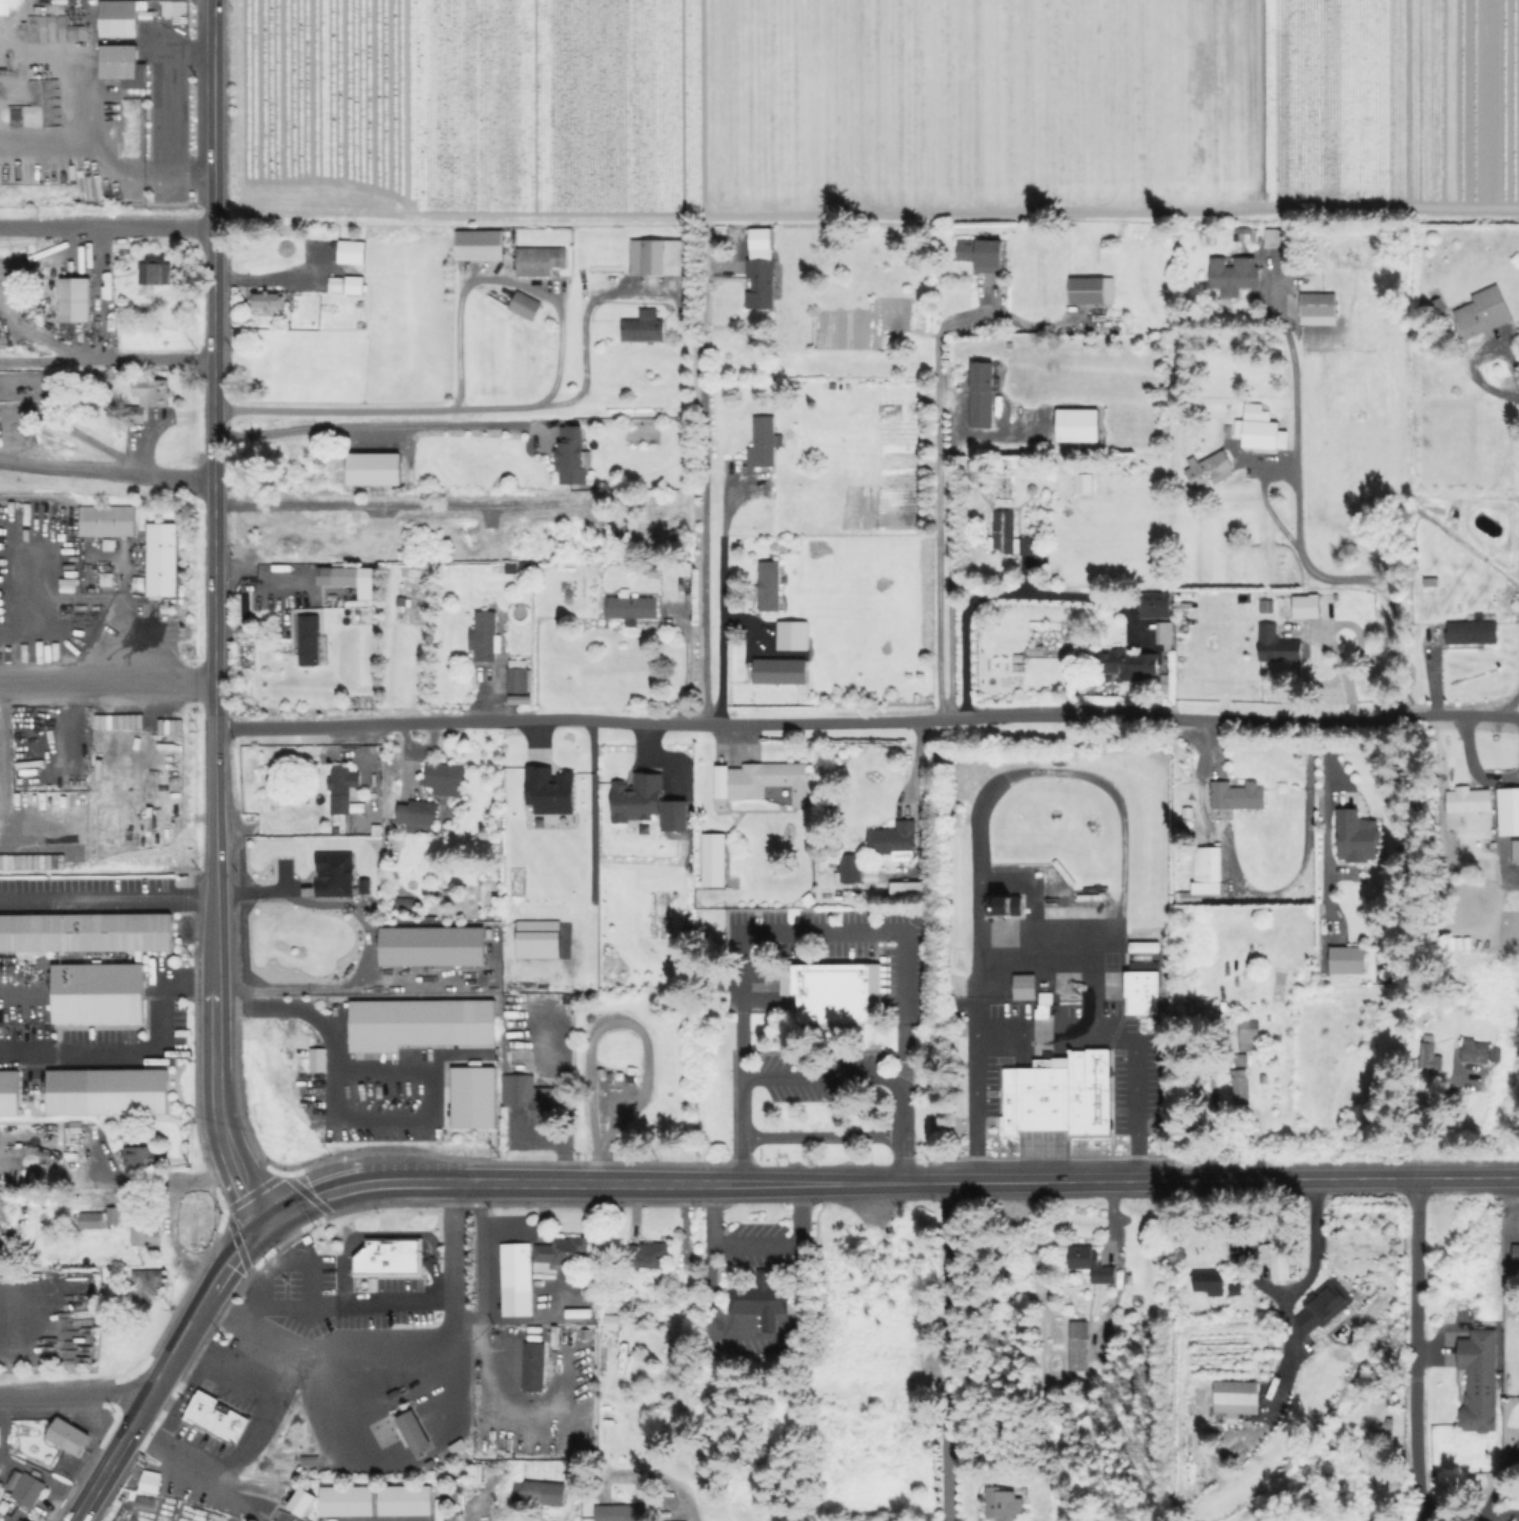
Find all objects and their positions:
building: (3, 7)
building: (116, 18)
building: (120, 64)
road: (168, 111)
road: (866, 215)
road: (108, 227)
building: (1243, 235)
building: (1209, 239)
building: (1280, 240)
building: (481, 245)
building: (352, 252)
building: (982, 253)
building: (659, 258)
building: (541, 261)
building: (153, 269)
building: (761, 270)
building: (1233, 275)
road: (264, 279)
building: (336, 284)
building: (355, 285)
road: (504, 285)
building: (1093, 292)
building: (72, 298)
building: (270, 299)
building: (526, 306)
building: (1319, 311)
building: (1484, 313)
building: (643, 330)
road: (107, 360)
road: (216, 364)
building: (153, 392)
building: (983, 396)
building: (1003, 409)
road: (471, 411)
building: (1078, 425)
road: (377, 429)
building: (1261, 430)
building: (765, 443)
building: (570, 444)
building: (373, 468)
building: (1210, 470)
road: (107, 472)
building: (1081, 482)
road: (938, 489)
road: (706, 494)
road: (1268, 509)
building: (106, 520)
building: (651, 527)
road: (1297, 534)
building: (1010, 538)
building: (161, 558)
road: (951, 558)
building: (346, 577)
building: (1433, 581)
building: (770, 586)
road: (1005, 594)
road: (722, 603)
building: (1264, 605)
building: (634, 607)
building: (1156, 607)
building: (1308, 608)
building: (1284, 611)
building: (1473, 633)
building: (1166, 635)
building: (487, 637)
building: (310, 640)
building: (1279, 647)
building: (1037, 652)
building: (1128, 664)
building: (781, 672)
building: (517, 676)
road: (108, 679)
road: (1432, 685)
building: (521, 701)
road: (1506, 717)
road: (871, 721)
road: (1474, 766)
building: (446, 775)
building: (760, 780)
building: (343, 789)
building: (548, 789)
building: (1239, 794)
road: (217, 799)
building: (1467, 799)
building: (645, 801)
building: (1507, 810)
building: (423, 812)
building: (639, 825)
building: (1351, 839)
building: (894, 841)
building: (715, 860)
road: (1303, 861)
building: (851, 871)
building: (1206, 875)
building: (347, 884)
road: (109, 898)
building: (407, 902)
building: (1005, 906)
road: (824, 929)
building: (84, 934)
road: (218, 934)
building: (536, 940)
building: (431, 945)
building: (1146, 947)
building: (1349, 960)
building: (1026, 987)
road: (333, 989)
building: (1143, 989)
building: (95, 995)
building: (830, 995)
building: (1044, 1006)
road: (608, 1021)
road: (1050, 1027)
building: (417, 1031)
building: (1248, 1035)
road: (135, 1050)
building: (1480, 1052)
building: (1430, 1055)
building: (316, 1058)
building: (1241, 1059)
road: (819, 1073)
building: (1241, 1087)
building: (9, 1094)
building: (105, 1094)
building: (1058, 1094)
building: (471, 1096)
building: (530, 1097)
parking lot: (410, 1099)
road: (898, 1106)
road: (743, 1108)
road: (219, 1117)
road: (346, 1120)
building: (75, 1128)
road: (821, 1135)
road: (899, 1157)
building: (140, 1158)
road: (743, 1160)
road: (1131, 1180)
road: (540, 1182)
road: (159, 1183)
road: (734, 1183)
road: (253, 1190)
road: (297, 1196)
road: (310, 1200)
building: (114, 1216)
building: (91, 1221)
traffic signals: (270, 1224)
road: (243, 1232)
building: (146, 1234)
road: (756, 1240)
building: (559, 1244)
road: (169, 1245)
road: (457, 1249)
building: (645, 1249)
road: (204, 1257)
building: (1516, 1257)
building: (390, 1258)
building: (1091, 1265)
building: (1277, 1266)
building: (511, 1274)
building: (1206, 1284)
building: (143, 1285)
building: (763, 1301)
road: (347, 1303)
building: (1319, 1317)
road: (169, 1318)
building: (610, 1321)
road: (213, 1326)
road: (387, 1345)
building: (1080, 1346)
road: (1417, 1349)
road: (949, 1351)
road: (148, 1355)
building: (531, 1359)
road: (168, 1368)
building: (1478, 1378)
road: (127, 1382)
road: (76, 1394)
building: (1234, 1399)
road: (478, 1406)
road: (266, 1416)
building: (218, 1418)
building: (1396, 1422)
building: (415, 1432)
building: (69, 1437)
road: (122, 1473)
building: (146, 1485)
building: (24, 1490)
building: (536, 1493)
road: (682, 1499)
building: (406, 1501)
building: (348, 1502)
building: (298, 1504)
building: (1005, 1504)
road: (100, 1509)
building: (620, 1513)
road: (1470, 1513)
building: (17, 1516)

